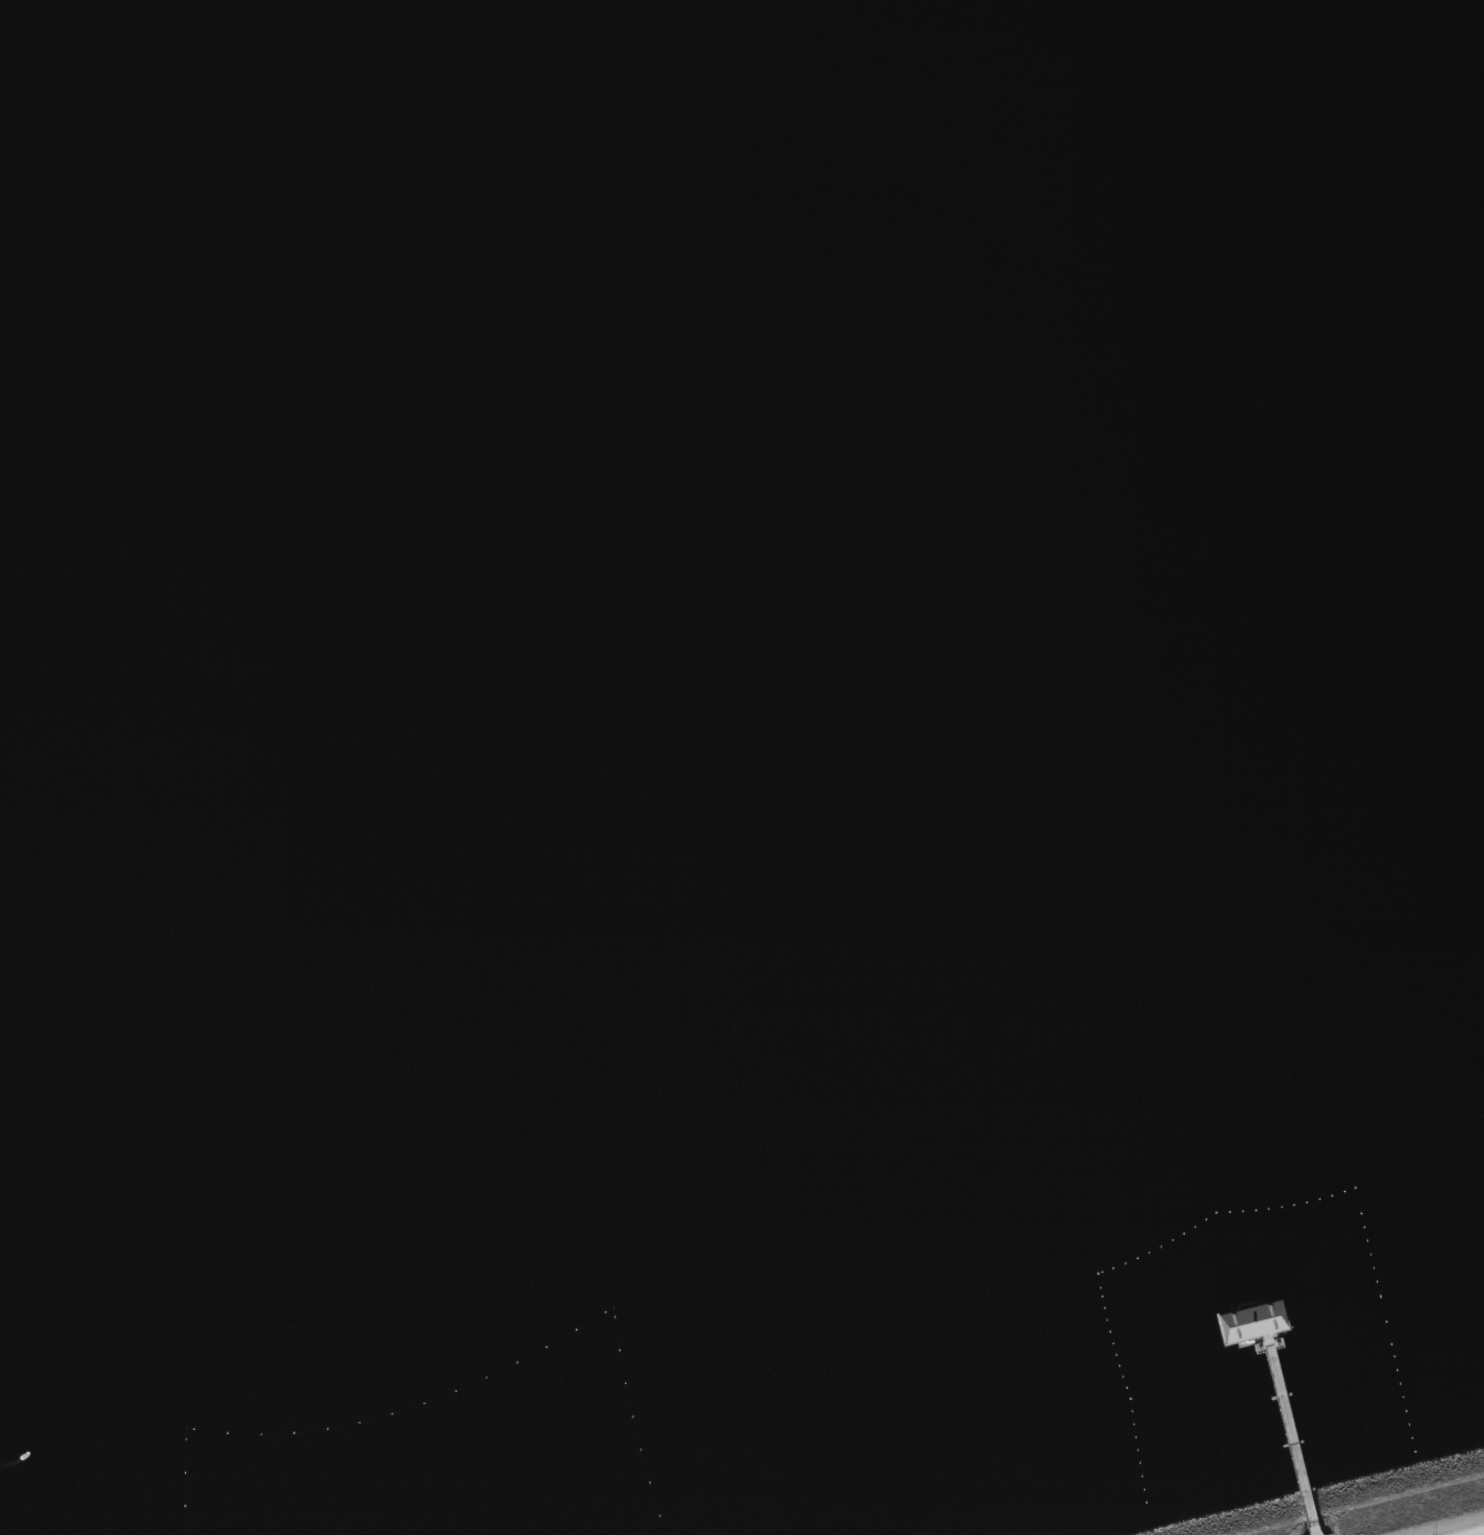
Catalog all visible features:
road: (1237, 1301)
building: (1256, 1317)
road: (1292, 1426)
dam: (1365, 1505)
road: (1444, 1525)
road: (1317, 1529)

